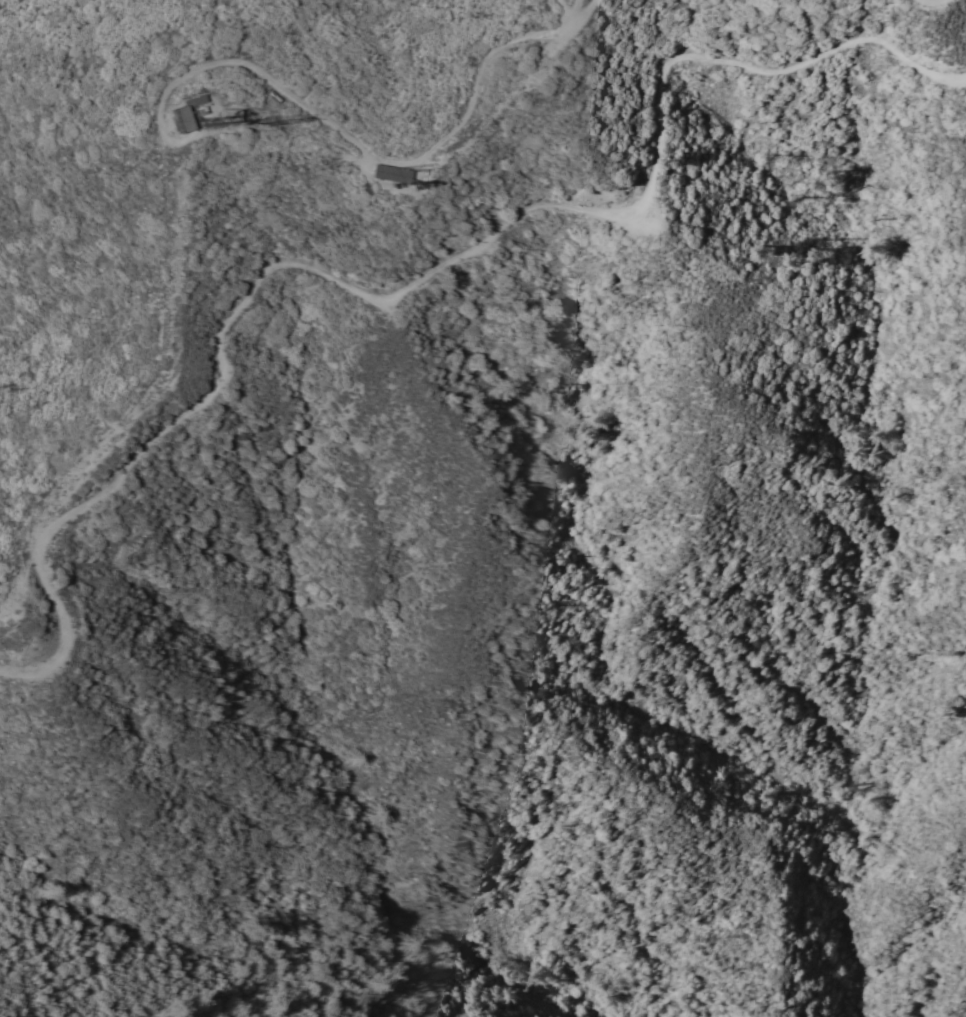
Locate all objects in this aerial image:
road: (938, 1)
road: (569, 14)
road: (574, 14)
road: (583, 14)
building: (184, 113)
building: (229, 114)
building: (152, 115)
road: (360, 140)
building: (391, 172)
road: (419, 283)
road: (171, 304)

